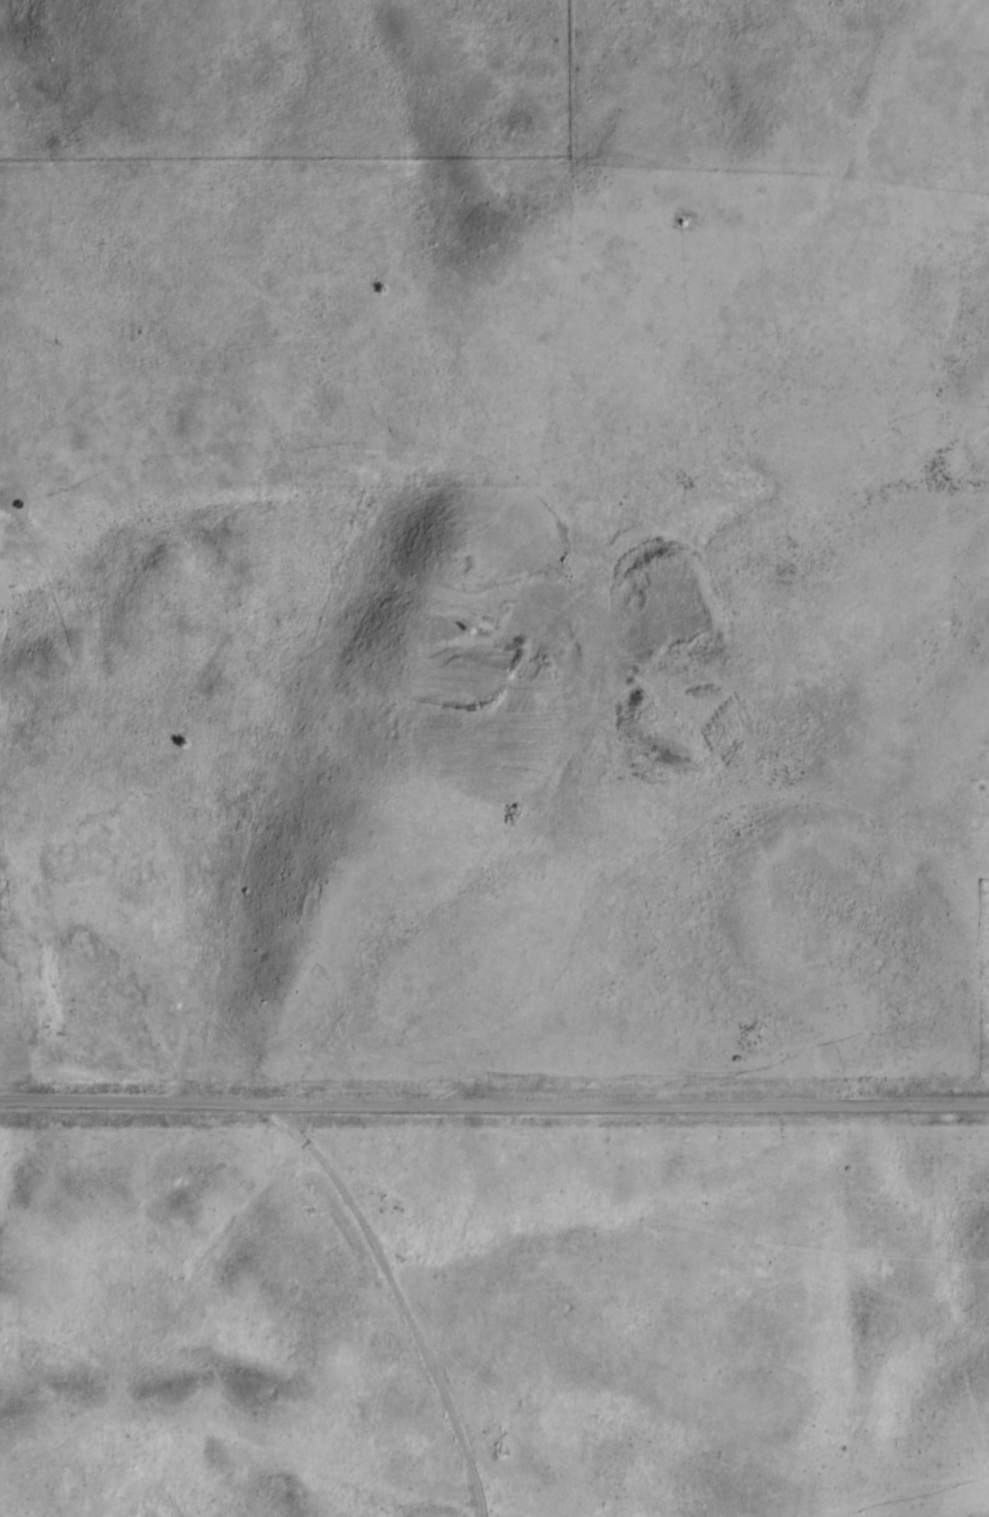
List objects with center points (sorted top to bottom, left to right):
road: (635, 1108)
road: (343, 1174)

